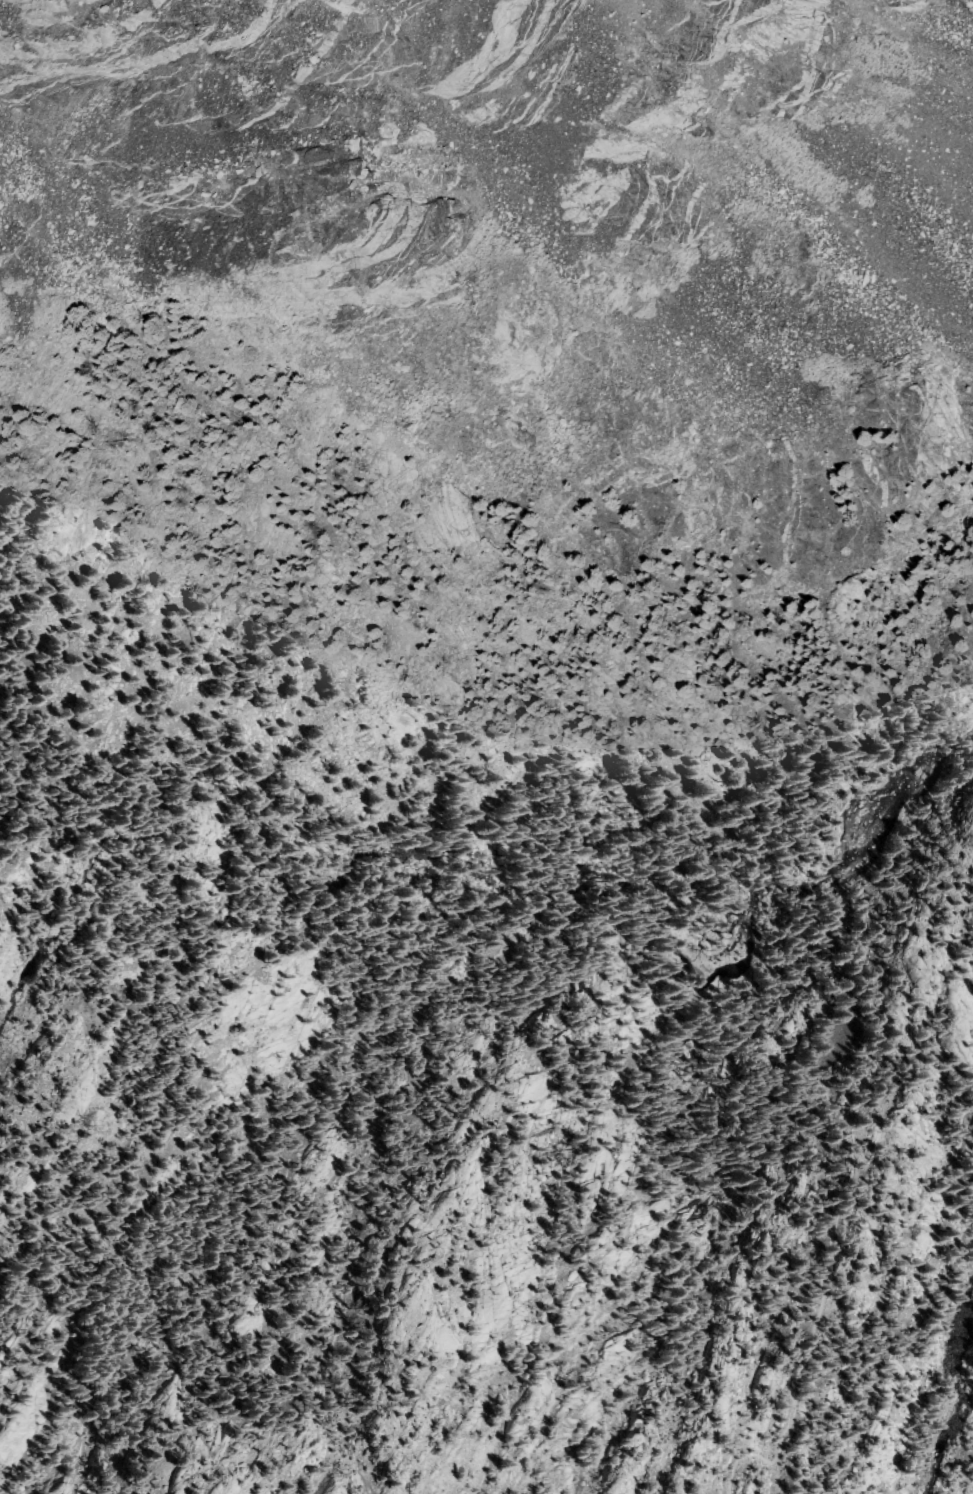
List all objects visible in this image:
road: (936, 578)
road: (862, 1003)

